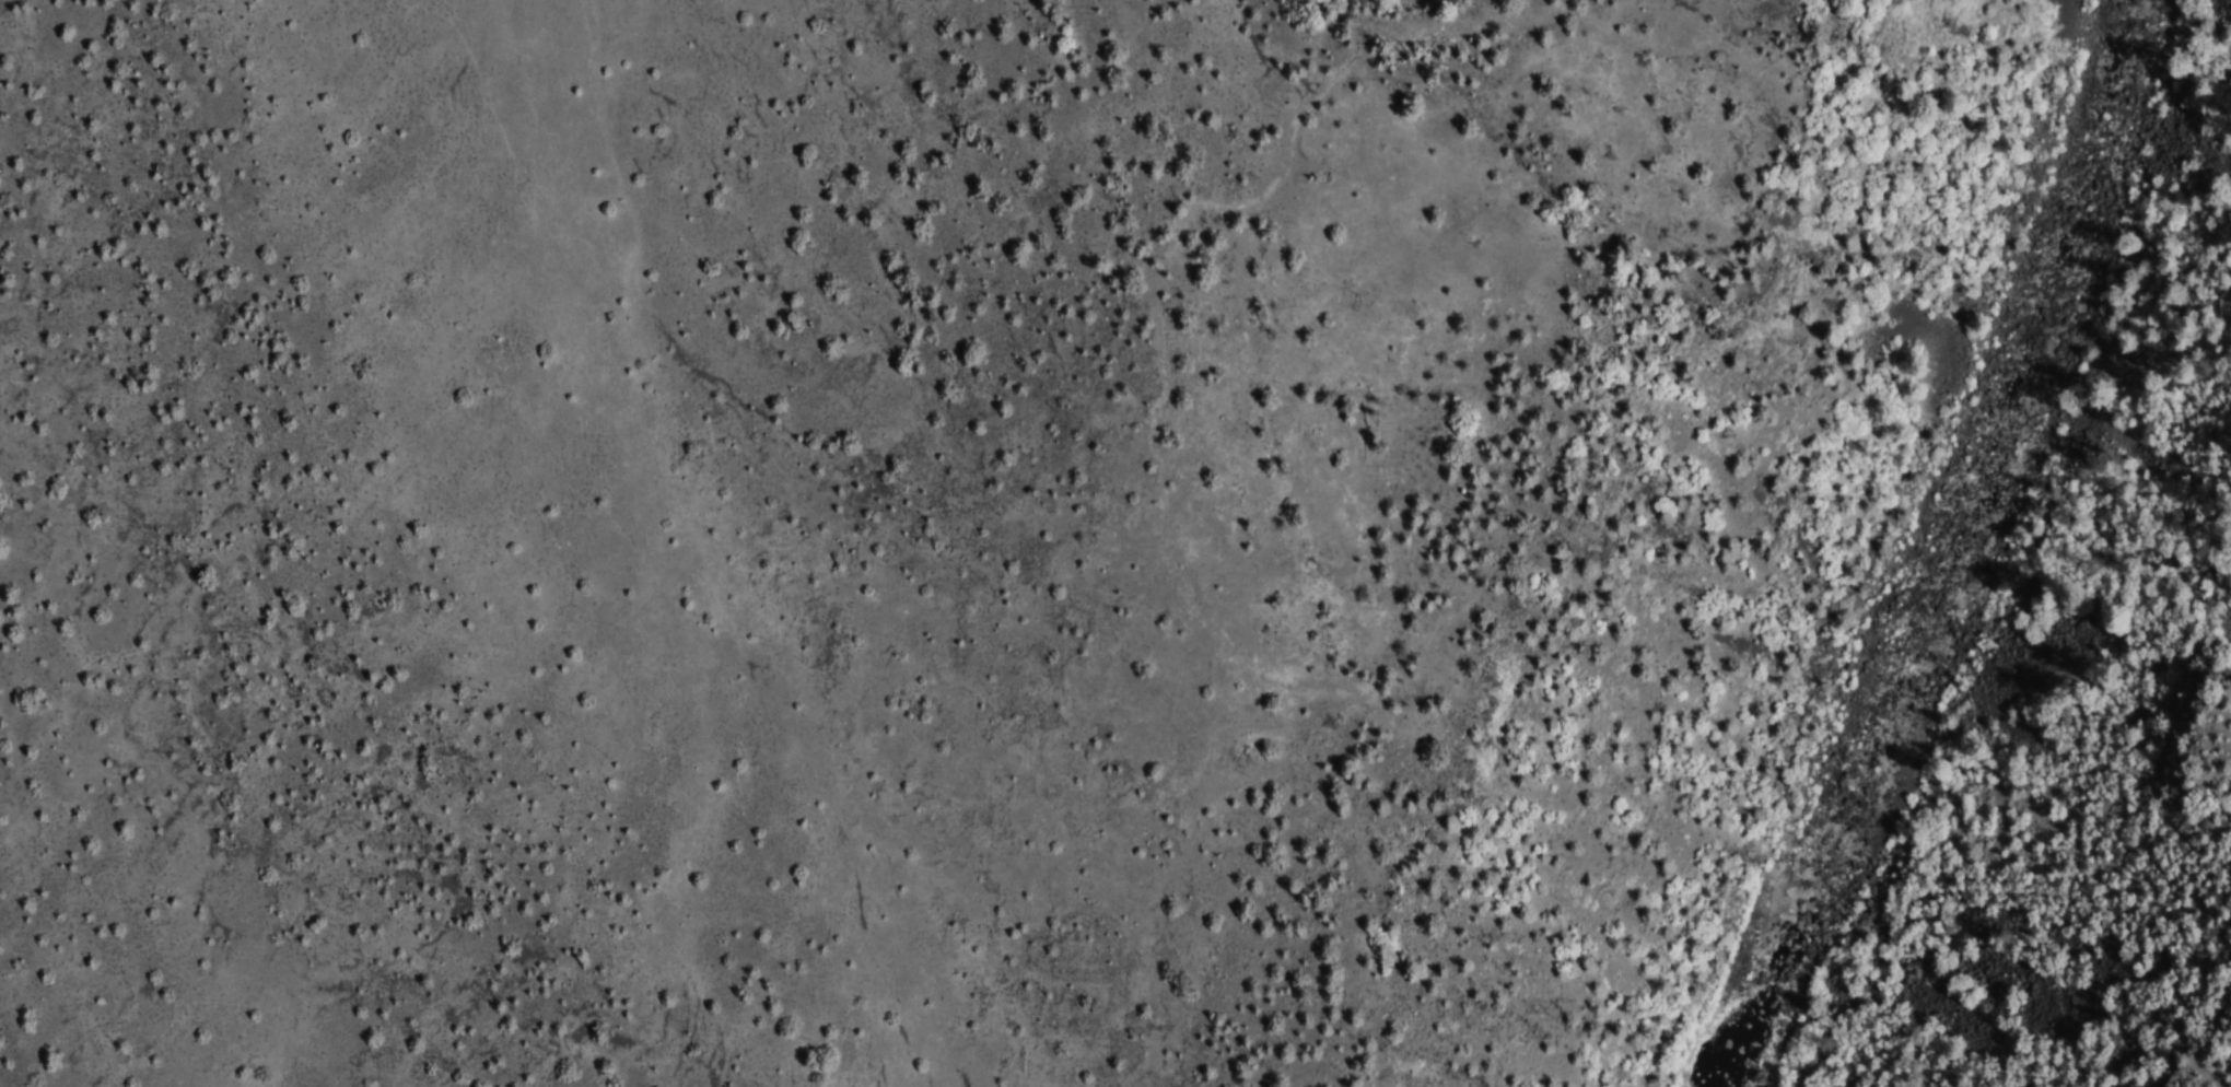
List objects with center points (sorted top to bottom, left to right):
river: (1975, 551)

